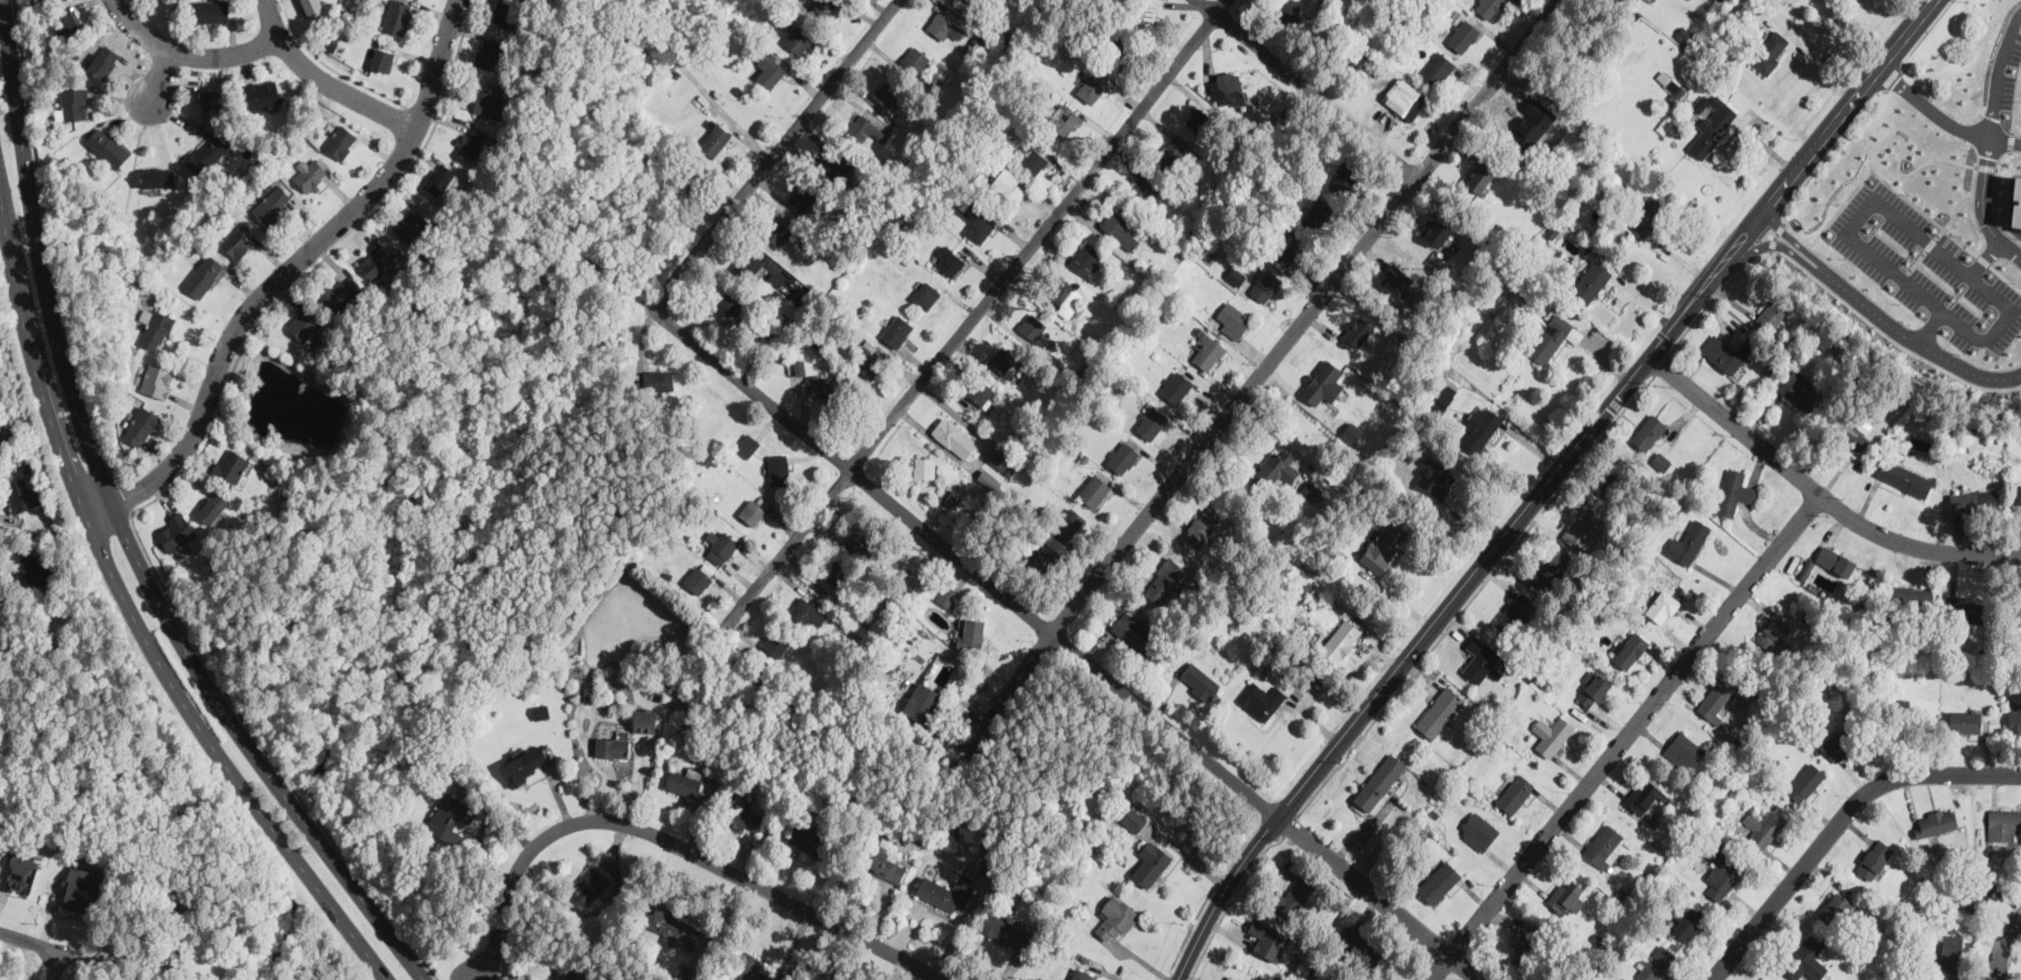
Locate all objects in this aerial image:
building: (970, 3)
building: (826, 6)
building: (312, 7)
building: (1490, 7)
building: (212, 11)
building: (1290, 11)
building: (505, 14)
building: (1144, 15)
building: (398, 16)
building: (69, 22)
building: (944, 25)
road: (1927, 30)
building: (1463, 34)
building: (798, 41)
road: (190, 51)
building: (1117, 51)
building: (1770, 51)
building: (489, 53)
road: (454, 58)
building: (915, 58)
building: (382, 59)
building: (1362, 60)
building: (104, 61)
road: (331, 66)
building: (770, 68)
building: (1437, 69)
road: (1999, 72)
building: (945, 73)
road: (157, 75)
road: (1891, 76)
road: (324, 82)
building: (1670, 83)
road: (1304, 86)
building: (1091, 88)
building: (1227, 88)
building: (888, 92)
building: (263, 93)
building: (211, 99)
building: (492, 99)
road: (2016, 99)
building: (1407, 102)
building: (73, 103)
road: (1930, 109)
road: (421, 112)
building: (1065, 116)
building: (1197, 119)
building: (1711, 124)
building: (866, 128)
building: (471, 140)
building: (715, 140)
road: (2005, 140)
building: (341, 141)
road: (2011, 142)
building: (107, 147)
building: (1169, 152)
building: (206, 153)
road: (776, 153)
road: (1825, 155)
building: (1034, 156)
road: (1898, 162)
building: (836, 165)
road: (1987, 167)
building: (311, 175)
building: (158, 176)
building: (1480, 176)
building: (698, 178)
building: (441, 179)
building: (1345, 179)
building: (1012, 186)
building: (1146, 189)
road: (1983, 191)
road: (1994, 193)
building: (803, 198)
road: (1910, 200)
building: (2020, 200)
building: (272, 204)
building: (1319, 214)
road: (1953, 215)
building: (1646, 216)
road: (1896, 216)
building: (411, 223)
building: (980, 224)
building: (1118, 228)
building: (776, 231)
building: (1437, 231)
road: (1775, 234)
building: (240, 239)
road: (1930, 243)
road: (48, 245)
building: (1288, 247)
road: (2010, 248)
building: (1086, 257)
road: (1985, 258)
building: (377, 260)
building: (949, 260)
road: (1917, 260)
road: (1983, 260)
road: (298, 262)
building: (751, 266)
parking lot: (1926, 268)
building: (203, 274)
building: (1236, 275)
road: (1838, 277)
road: (2006, 278)
building: (1396, 279)
building: (1591, 281)
building: (1265, 285)
building: (341, 291)
building: (925, 294)
road: (1714, 295)
building: (1066, 298)
building: (725, 303)
road: (975, 312)
building: (1774, 312)
building: (1233, 319)
building: (304, 322)
building: (1032, 325)
road: (1928, 327)
building: (156, 329)
building: (897, 330)
building: (1356, 332)
building: (1554, 337)
building: (1746, 346)
building: (1207, 350)
building: (1724, 353)
building: (869, 358)
building: (1004, 360)
road: (1661, 364)
building: (800, 367)
road: (1966, 370)
road: (1255, 374)
building: (156, 379)
building: (658, 380)
building: (1323, 382)
building: (826, 384)
building: (1177, 387)
building: (980, 390)
building: (1801, 391)
building: (1444, 398)
building: (1151, 422)
building: (142, 426)
building: (1482, 427)
building: (1648, 431)
building: (1845, 433)
building: (8, 436)
building: (954, 436)
building: (747, 444)
building: (1961, 445)
building: (1122, 456)
building: (1001, 459)
building: (1660, 460)
building: (230, 465)
building: (925, 466)
building: (779, 469)
building: (1276, 469)
building: (1904, 476)
building: (1436, 477)
building: (989, 480)
building: (1617, 480)
road: (1543, 482)
building: (1093, 489)
building: (1313, 489)
building: (1734, 492)
building: (22, 494)
road: (127, 494)
building: (2018, 494)
road: (1816, 495)
building: (953, 496)
building: (1974, 500)
building: (213, 506)
building: (754, 509)
building: (1070, 523)
road: (123, 528)
building: (1200, 529)
building: (1584, 529)
building: (176, 532)
road: (139, 537)
building: (862, 542)
building: (1688, 542)
building: (1384, 544)
building: (720, 546)
building: (1042, 557)
building: (1835, 560)
building: (34, 569)
building: (1551, 570)
building: (831, 574)
building: (699, 577)
building: (1165, 578)
building: (1301, 588)
building: (948, 595)
road: (1473, 595)
building: (1912, 595)
building: (1666, 602)
road: (132, 608)
building: (808, 610)
building: (1964, 610)
building: (0, 611)
building: (1516, 613)
building: (2017, 614)
building: (1133, 632)
building: (1772, 632)
building: (971, 633)
building: (1340, 639)
building: (776, 643)
road: (1065, 645)
building: (1630, 649)
building: (1482, 660)
building: (1199, 680)
building: (1593, 690)
building: (1261, 699)
building: (1716, 699)
building: (922, 701)
building: (541, 711)
building: (1439, 712)
building: (2015, 716)
building: (1907, 718)
building: (1965, 720)
building: (646, 721)
building: (1554, 736)
road: (1622, 738)
building: (1841, 740)
building: (612, 747)
building: (1684, 750)
building: (525, 764)
building: (1379, 782)
building: (1805, 782)
building: (683, 783)
building: (1515, 793)
building: (1642, 795)
building: (451, 818)
building: (744, 818)
building: (1132, 818)
building: (1936, 821)
road: (1838, 822)
building: (2003, 823)
road: (1290, 825)
building: (1763, 827)
building: (1478, 830)
building: (809, 840)
road: (676, 844)
building: (1603, 846)
building: (1874, 858)
building: (885, 863)
building: (1151, 863)
building: (19, 871)
building: (1722, 871)
building: (1439, 881)
building: (591, 886)
building: (83, 890)
building: (945, 893)
building: (1976, 893)
building: (1294, 896)
building: (1566, 896)
road: (1230, 901)
building: (1835, 908)
building: (1116, 917)
building: (1687, 923)
building: (673, 928)
building: (1005, 931)
building: (1268, 940)
road: (30, 941)
building: (1526, 945)
road: (2003, 945)
building: (1362, 949)
building: (1950, 956)
building: (1806, 960)
building: (1655, 962)
road: (57, 965)
building: (753, 969)
building: (557, 971)
building: (686, 974)
building: (1081, 974)
building: (1232, 978)

